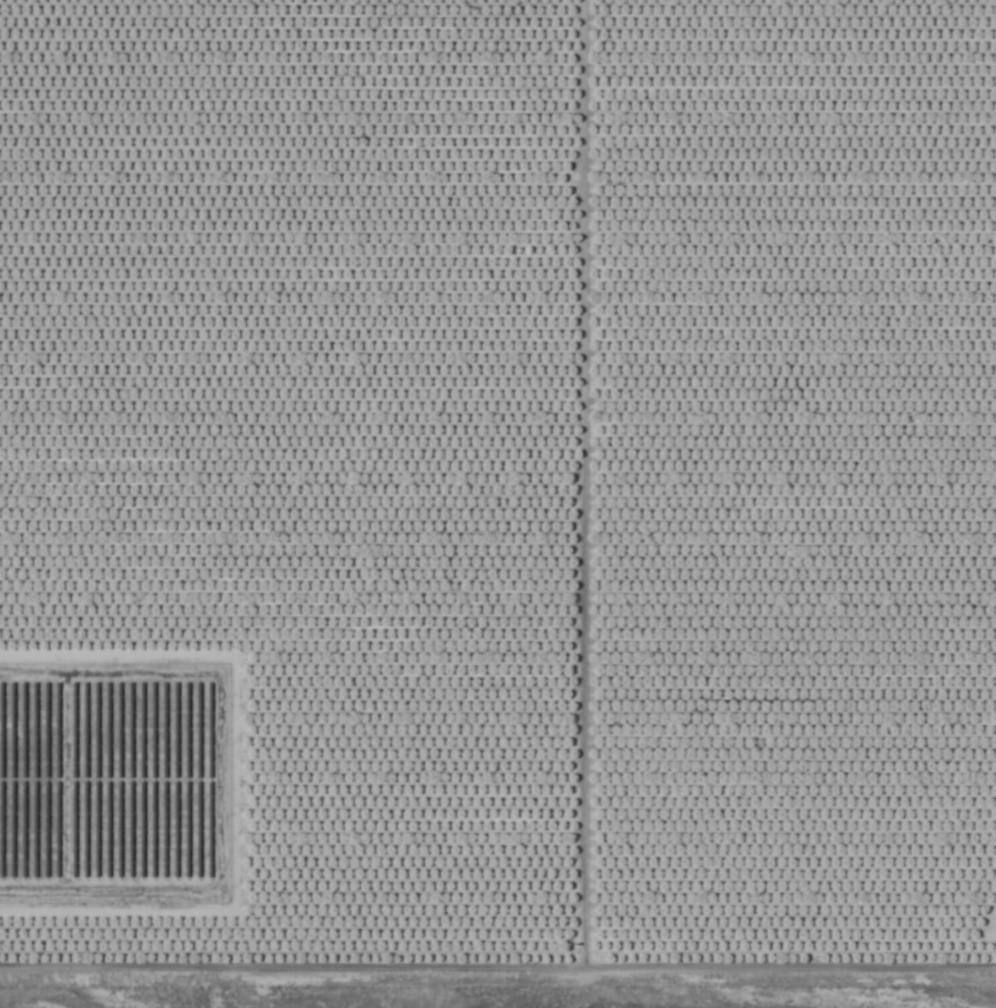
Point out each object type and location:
road: (578, 487)
crop: (498, 491)
solar farm: (112, 789)
road: (498, 974)

